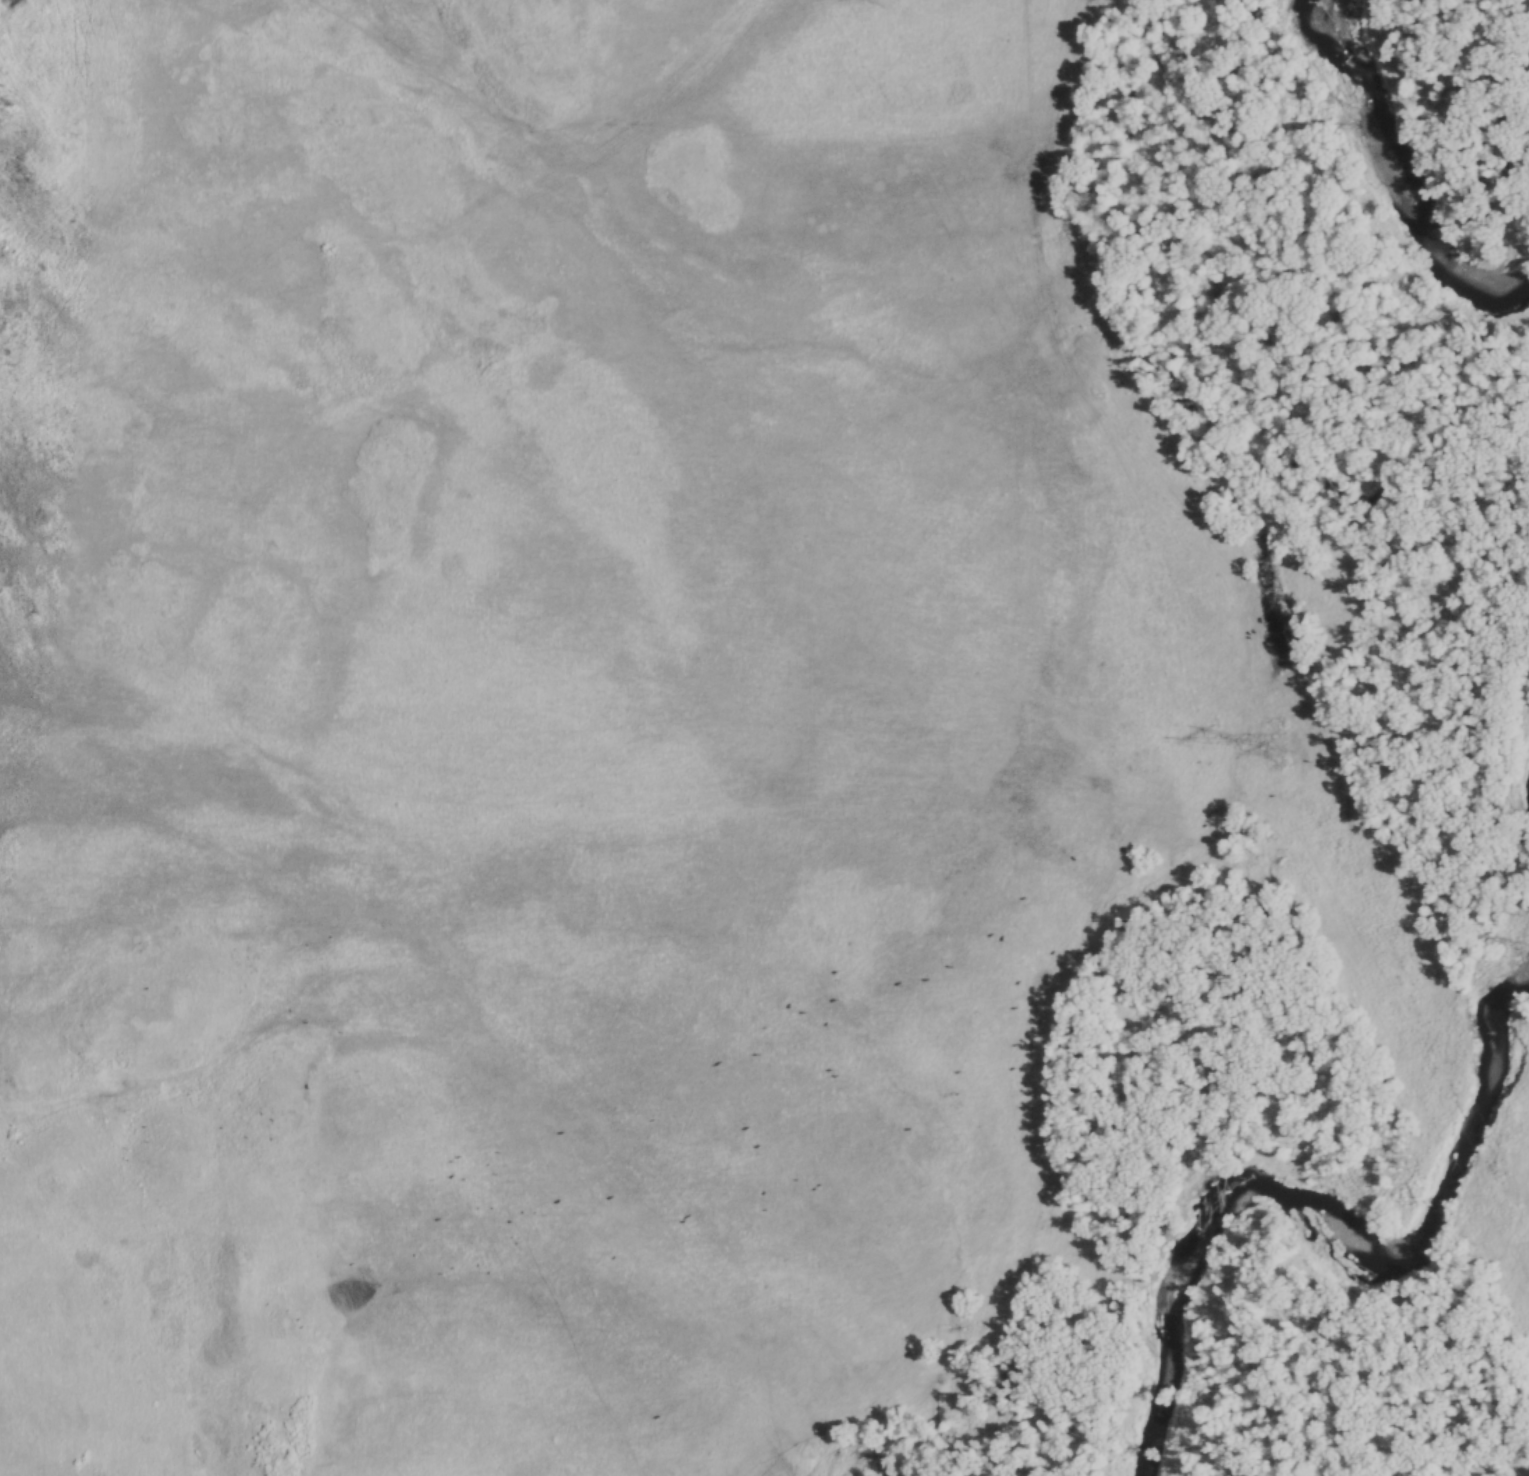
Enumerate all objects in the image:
river: (1396, 184)
power tower: (1281, 750)
river: (1324, 1222)

